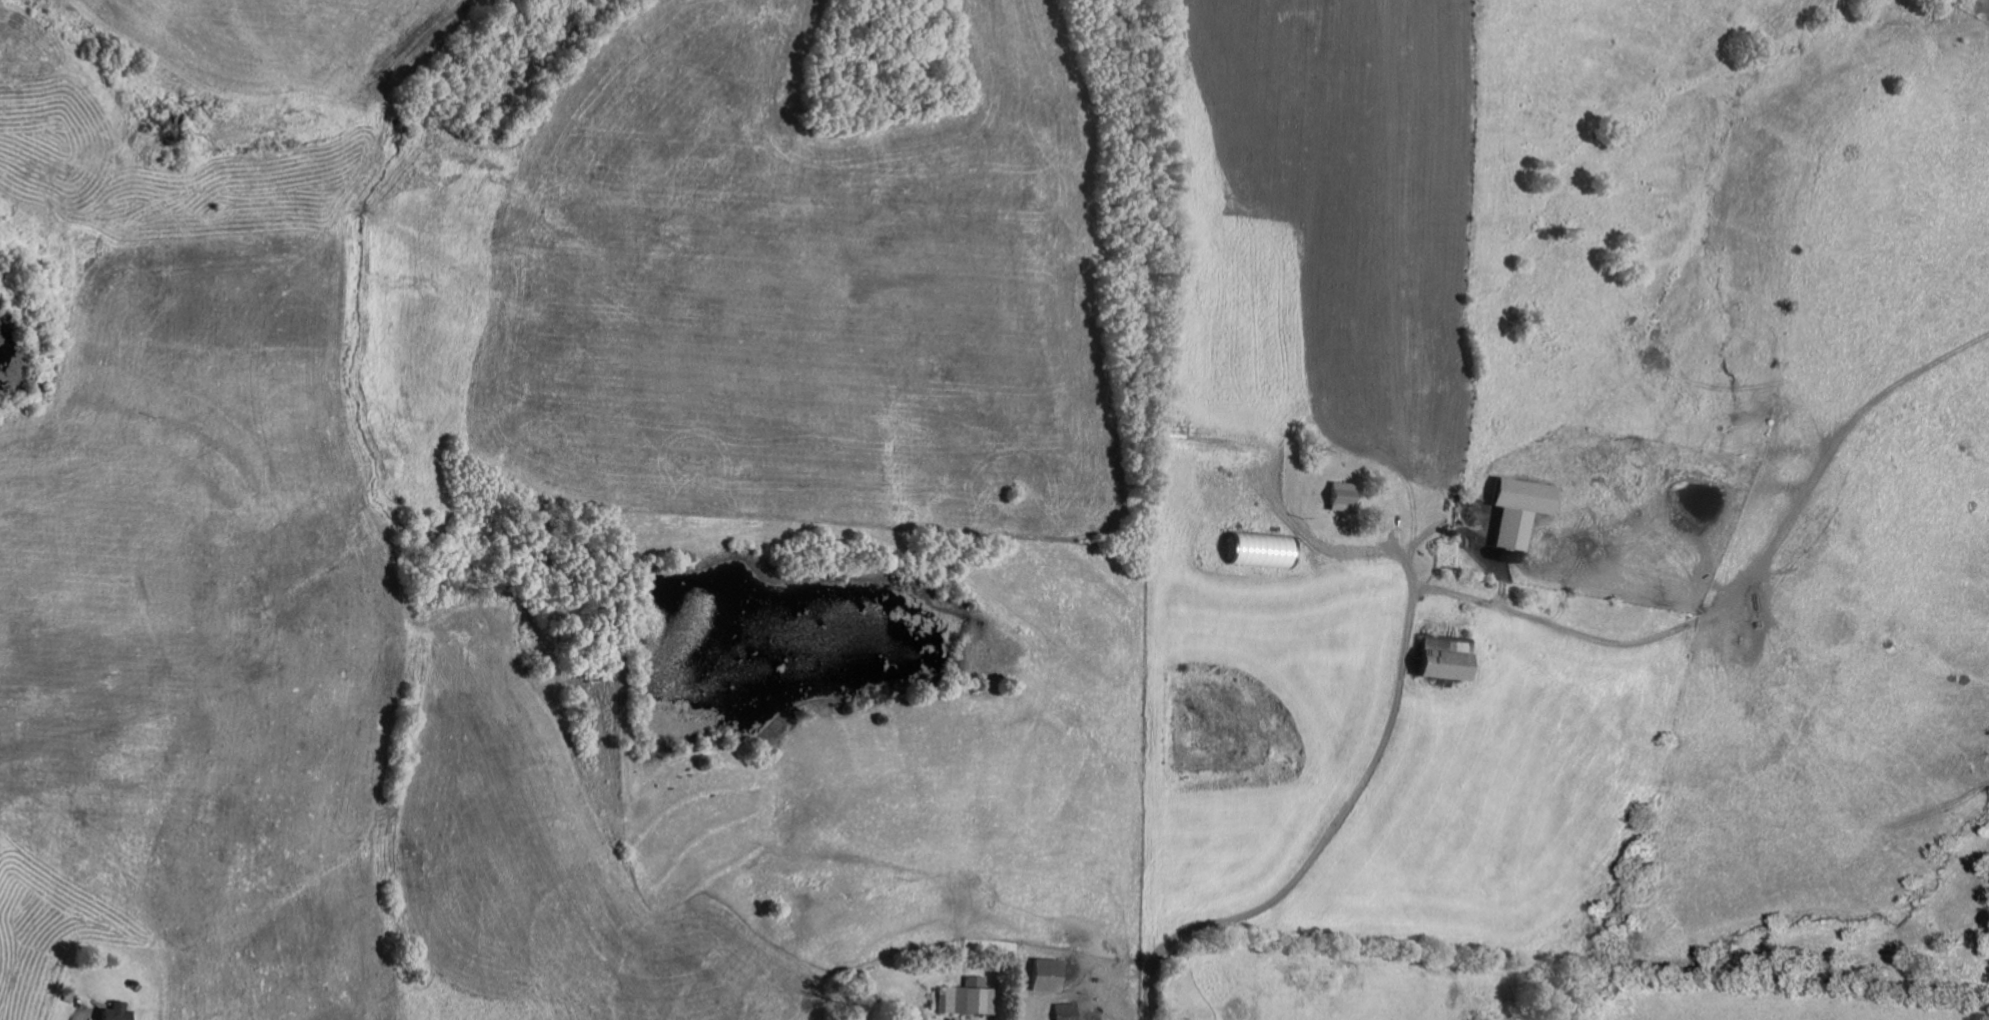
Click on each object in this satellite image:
building: (1343, 495)
building: (1518, 508)
building: (1262, 549)
building: (1445, 658)
building: (1045, 974)
building: (967, 996)
building: (117, 1011)
building: (1063, 1011)

